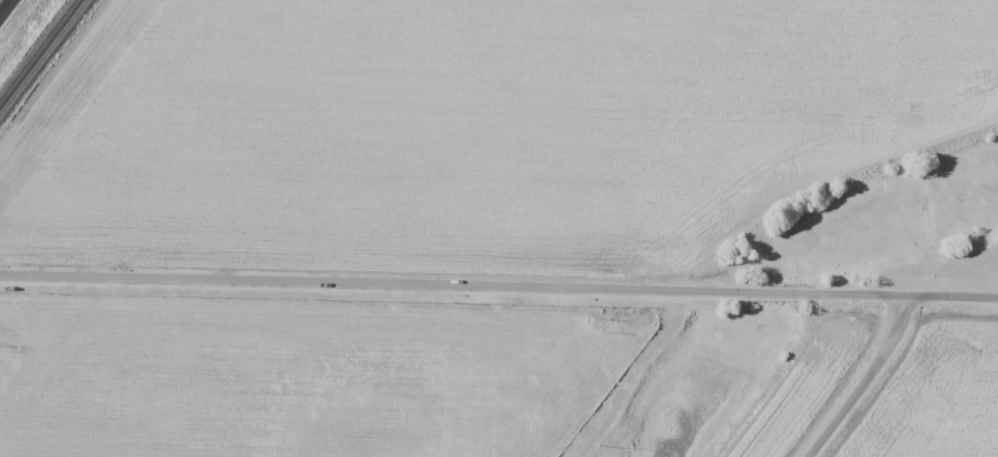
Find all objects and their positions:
road: (5, 6)
railway: (38, 49)
railway: (43, 58)
road: (499, 285)
road: (864, 375)

